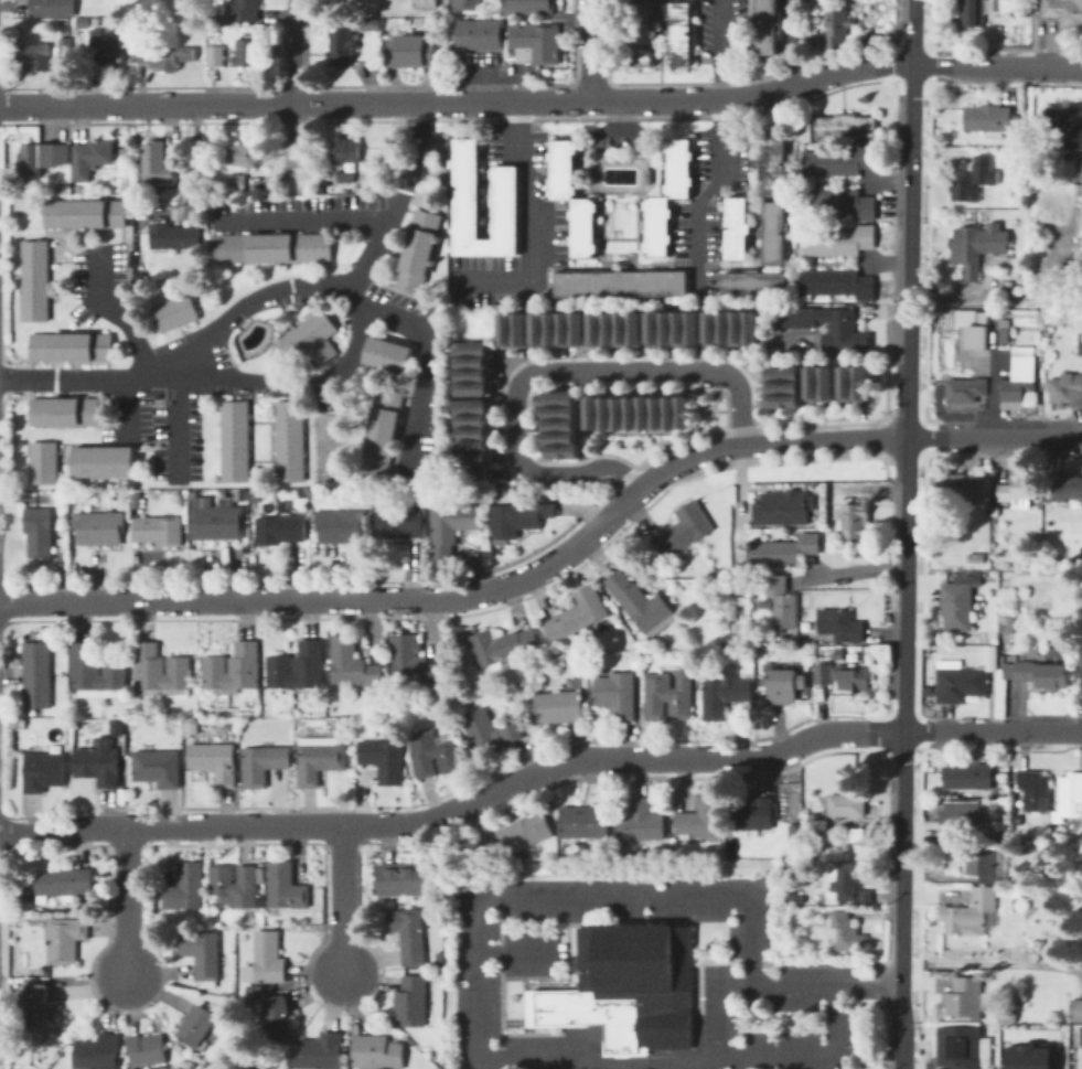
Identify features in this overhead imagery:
building: (425, 2)
building: (467, 3)
building: (526, 7)
building: (53, 8)
building: (247, 10)
building: (1062, 11)
building: (973, 12)
building: (96, 21)
building: (368, 23)
building: (764, 25)
building: (65, 29)
building: (834, 31)
building: (679, 32)
building: (478, 33)
building: (641, 33)
building: (533, 42)
road: (788, 44)
building: (341, 45)
building: (66, 46)
building: (107, 51)
building: (411, 51)
road: (591, 51)
road: (293, 52)
building: (247, 53)
building: (32, 56)
building: (165, 56)
building: (216, 56)
road: (480, 72)
road: (543, 101)
road: (619, 117)
building: (988, 119)
building: (843, 125)
building: (1065, 127)
road: (619, 132)
road: (293, 138)
building: (1021, 140)
road: (721, 150)
building: (345, 151)
building: (129, 152)
building: (244, 156)
building: (42, 158)
building: (92, 158)
building: (838, 159)
building: (772, 161)
building: (157, 164)
building: (677, 165)
road: (193, 168)
building: (560, 169)
building: (645, 174)
building: (346, 177)
road: (886, 179)
building: (974, 181)
building: (238, 184)
building: (124, 190)
road: (396, 199)
building: (181, 201)
building: (837, 201)
building: (504, 202)
building: (1081, 206)
building: (84, 212)
building: (1022, 213)
road: (299, 218)
building: (656, 224)
road: (525, 225)
building: (581, 226)
building: (735, 226)
building: (772, 232)
building: (173, 236)
building: (837, 239)
building: (269, 246)
building: (976, 247)
building: (416, 250)
road: (887, 263)
building: (33, 278)
building: (621, 282)
building: (753, 282)
building: (835, 284)
road: (116, 310)
building: (173, 311)
road: (357, 313)
building: (730, 327)
building: (557, 328)
building: (614, 328)
building: (672, 328)
building: (512, 329)
building: (843, 330)
building: (1005, 330)
building: (1048, 331)
building: (978, 336)
building: (309, 338)
building: (1080, 341)
building: (69, 345)
road: (848, 351)
building: (386, 353)
road: (427, 364)
building: (472, 366)
road: (549, 367)
road: (95, 381)
building: (1020, 381)
building: (818, 382)
building: (851, 382)
building: (782, 386)
building: (1068, 389)
building: (965, 391)
road: (126, 406)
building: (62, 410)
building: (638, 410)
road: (174, 420)
building: (559, 424)
building: (382, 429)
road: (994, 437)
building: (473, 438)
building: (233, 439)
building: (288, 439)
road: (765, 441)
building: (101, 460)
building: (42, 461)
building: (967, 485)
building: (1067, 489)
building: (1018, 490)
building: (222, 492)
building: (239, 493)
building: (133, 498)
building: (251, 502)
building: (265, 502)
building: (281, 505)
building: (782, 506)
road: (906, 511)
building: (995, 512)
building: (453, 516)
building: (202, 517)
building: (34, 519)
building: (228, 519)
building: (519, 519)
building: (410, 520)
building: (385, 521)
building: (853, 522)
building: (350, 524)
building: (325, 525)
building: (108, 526)
building: (84, 527)
building: (142, 527)
building: (289, 527)
building: (168, 530)
building: (265, 530)
building: (684, 531)
road: (923, 537)
building: (441, 543)
building: (36, 544)
building: (994, 544)
building: (788, 550)
building: (975, 560)
road: (856, 569)
building: (623, 590)
road: (335, 600)
building: (782, 603)
building: (958, 605)
building: (578, 614)
building: (651, 614)
building: (1008, 624)
building: (840, 626)
building: (502, 646)
building: (839, 653)
building: (993, 656)
building: (34, 658)
building: (413, 662)
building: (1081, 662)
building: (352, 665)
building: (298, 667)
building: (96, 670)
building: (234, 670)
building: (160, 671)
building: (1038, 674)
building: (843, 676)
building: (960, 682)
building: (785, 686)
building: (34, 689)
building: (726, 694)
building: (618, 695)
building: (669, 695)
building: (559, 707)
building: (195, 728)
building: (490, 731)
road: (992, 731)
road: (1081, 745)
building: (65, 749)
building: (435, 753)
building: (384, 760)
building: (321, 761)
building: (215, 762)
building: (264, 763)
building: (99, 766)
building: (158, 768)
building: (44, 772)
building: (968, 777)
building: (240, 782)
building: (1036, 790)
building: (1070, 794)
building: (847, 804)
road: (456, 805)
building: (753, 815)
building: (703, 817)
building: (957, 820)
building: (585, 822)
building: (641, 822)
building: (821, 826)
building: (525, 833)
building: (780, 847)
building: (988, 864)
building: (438, 868)
building: (401, 879)
building: (66, 883)
building: (771, 883)
building: (849, 883)
building: (15, 884)
building: (237, 886)
building: (186, 887)
building: (287, 887)
building: (796, 896)
road: (342, 901)
road: (127, 902)
building: (973, 912)
building: (846, 932)
building: (410, 936)
building: (65, 939)
building: (1038, 948)
building: (202, 955)
building: (269, 959)
building: (441, 961)
building: (1003, 976)
building: (439, 980)
building: (629, 990)
building: (967, 998)
building: (414, 1001)
building: (246, 1005)
building: (1075, 1008)
building: (43, 1015)
building: (278, 1017)
building: (1007, 1017)
building: (199, 1026)
road: (474, 1039)
road: (901, 1045)
building: (963, 1048)
building: (148, 1050)
building: (98, 1052)
building: (320, 1052)
building: (378, 1052)
road: (806, 1052)
building: (1027, 1056)

